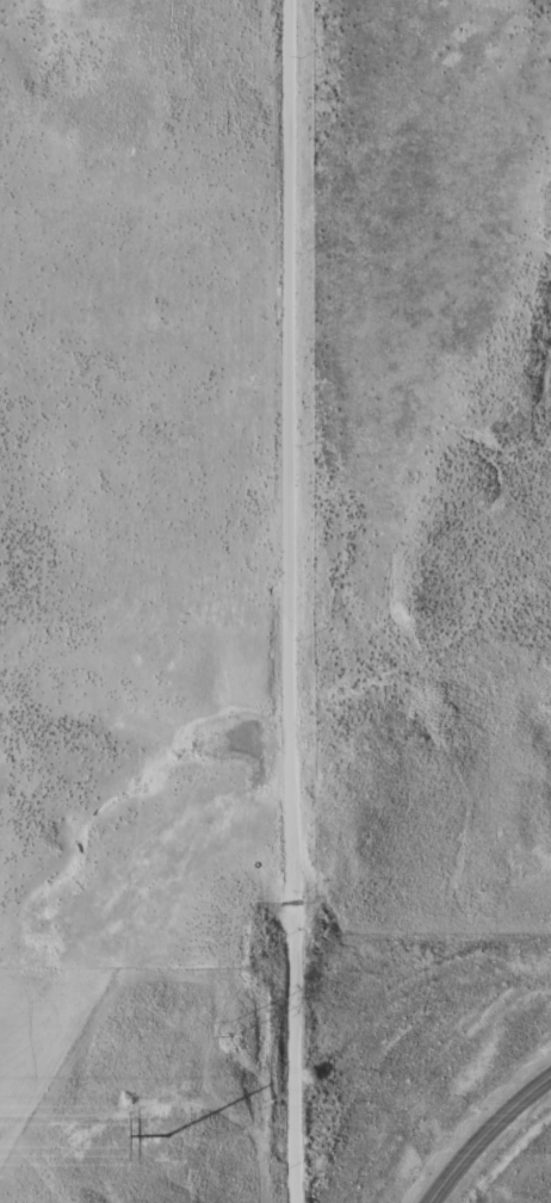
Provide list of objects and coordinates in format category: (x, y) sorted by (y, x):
road: (290, 601)
power tower: (225, 1024)
road: (483, 1131)
power tower: (169, 1133)

